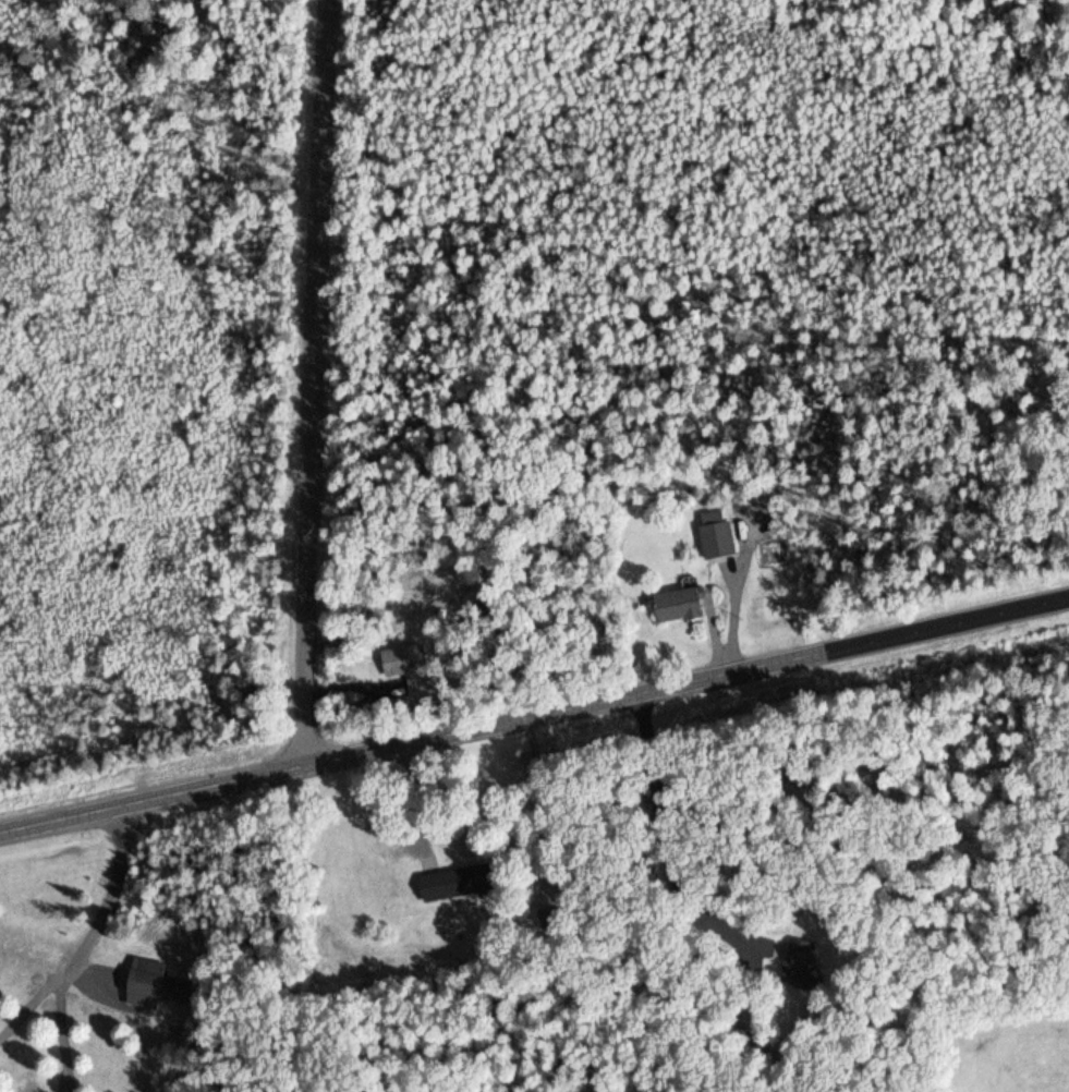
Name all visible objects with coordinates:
road: (321, 383)
building: (716, 533)
building: (678, 604)
building: (404, 660)
road: (534, 715)
building: (454, 882)
building: (546, 918)
building: (151, 983)

